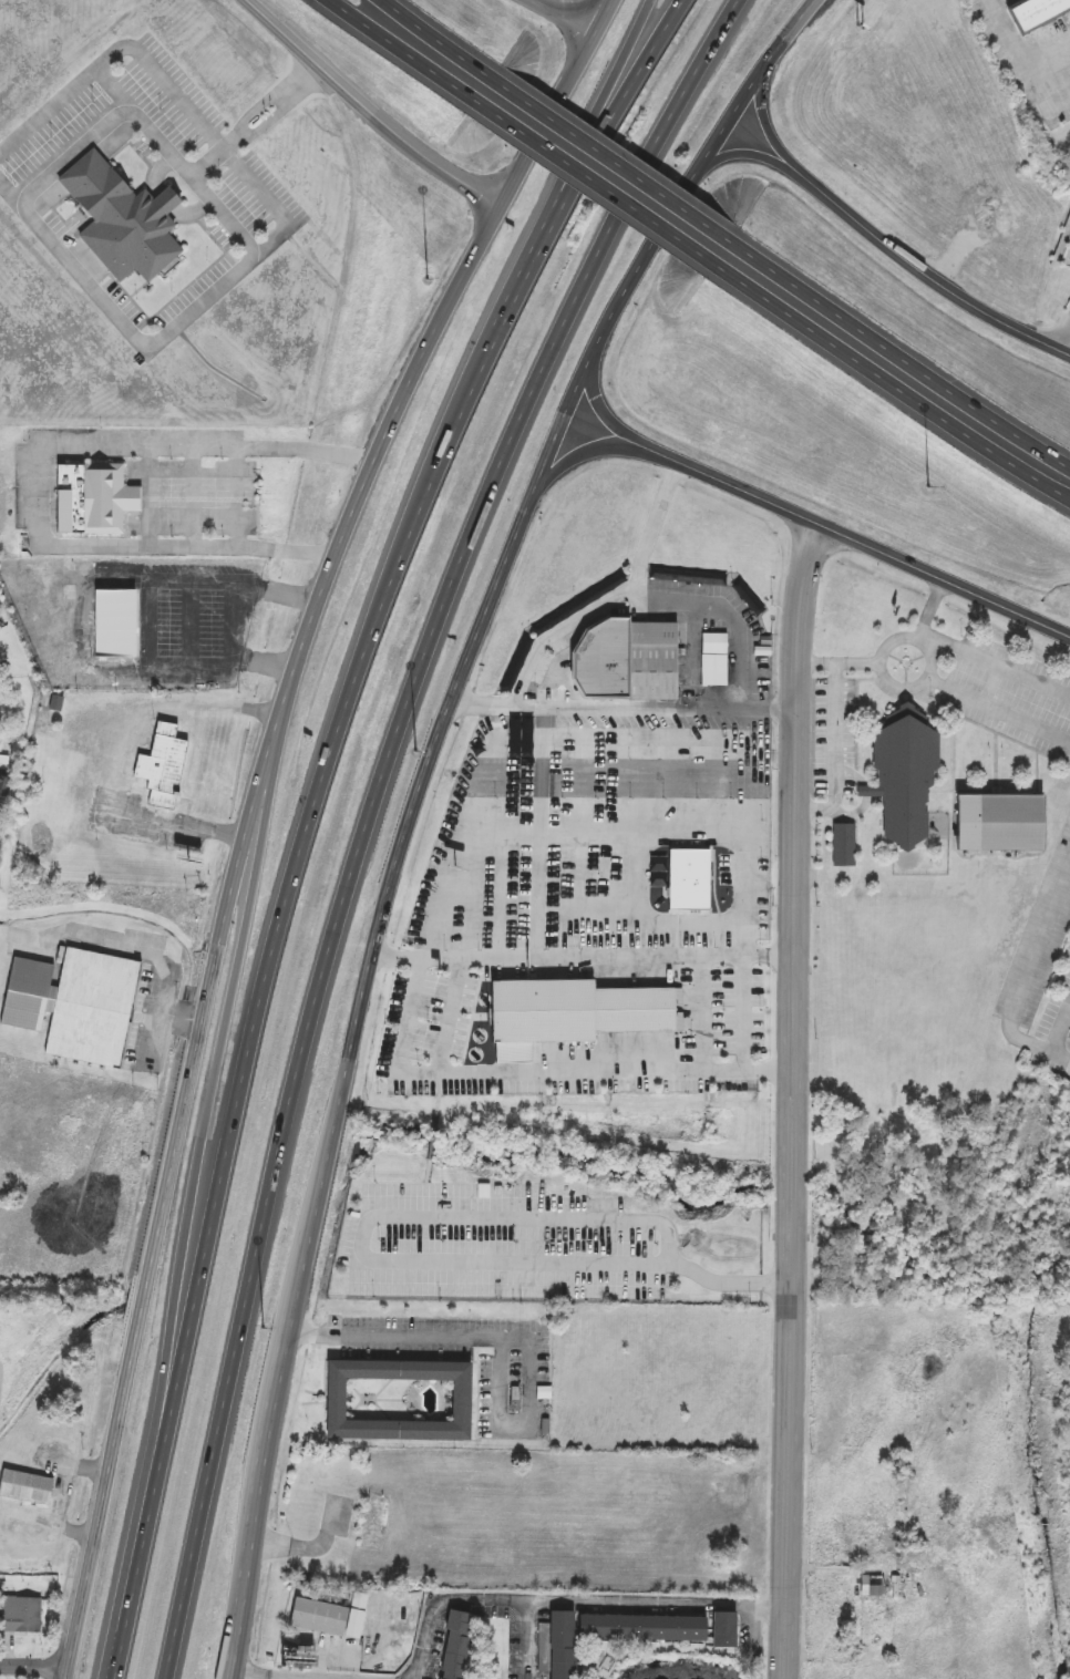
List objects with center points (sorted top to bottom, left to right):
building: (1033, 12)
road: (565, 17)
road: (418, 29)
road: (384, 35)
road: (1018, 54)
road: (617, 83)
road: (270, 94)
road: (558, 104)
road: (285, 107)
road: (369, 112)
road: (763, 126)
road: (71, 148)
road: (745, 152)
road: (213, 155)
road: (175, 157)
road: (585, 158)
parking lot: (238, 179)
road: (164, 199)
building: (121, 220)
road: (284, 222)
road: (926, 274)
street lamp: (429, 279)
road: (1066, 313)
road: (1063, 342)
road: (897, 369)
road: (604, 415)
road: (589, 453)
road: (34, 472)
street lamp: (930, 488)
road: (148, 494)
road: (236, 494)
road: (193, 495)
building: (89, 498)
road: (654, 527)
road: (865, 543)
road: (644, 597)
road: (82, 616)
road: (237, 619)
building: (115, 624)
road: (148, 625)
road: (191, 626)
road: (919, 636)
road: (906, 638)
road: (969, 652)
road: (362, 661)
building: (621, 661)
road: (837, 662)
building: (517, 665)
building: (714, 670)
road: (620, 707)
road: (999, 710)
building: (521, 738)
street lamp: (415, 750)
road: (838, 754)
road: (486, 765)
building: (162, 766)
building: (903, 775)
road: (414, 800)
road: (370, 810)
building: (998, 824)
road: (176, 827)
road: (549, 827)
building: (846, 843)
building: (688, 879)
road: (775, 880)
road: (639, 887)
road: (757, 887)
road: (223, 923)
road: (438, 931)
road: (745, 937)
road: (131, 947)
road: (582, 959)
road: (1030, 972)
road: (235, 987)
building: (72, 1005)
building: (570, 1011)
road: (747, 1016)
road: (154, 1020)
parking lot: (1056, 1031)
road: (1062, 1032)
road: (1062, 1055)
road: (539, 1075)
road: (794, 1099)
road: (436, 1103)
road: (432, 1135)
road: (426, 1168)
road: (394, 1261)
street lamp: (265, 1327)
road: (503, 1339)
building: (457, 1399)
building: (24, 1487)
building: (372, 1525)
road: (146, 1526)
building: (870, 1587)
road: (484, 1601)
road: (659, 1603)
building: (327, 1616)
building: (22, 1617)
building: (723, 1629)
building: (608, 1634)
building: (453, 1645)
road: (34, 1661)
road: (263, 1675)

